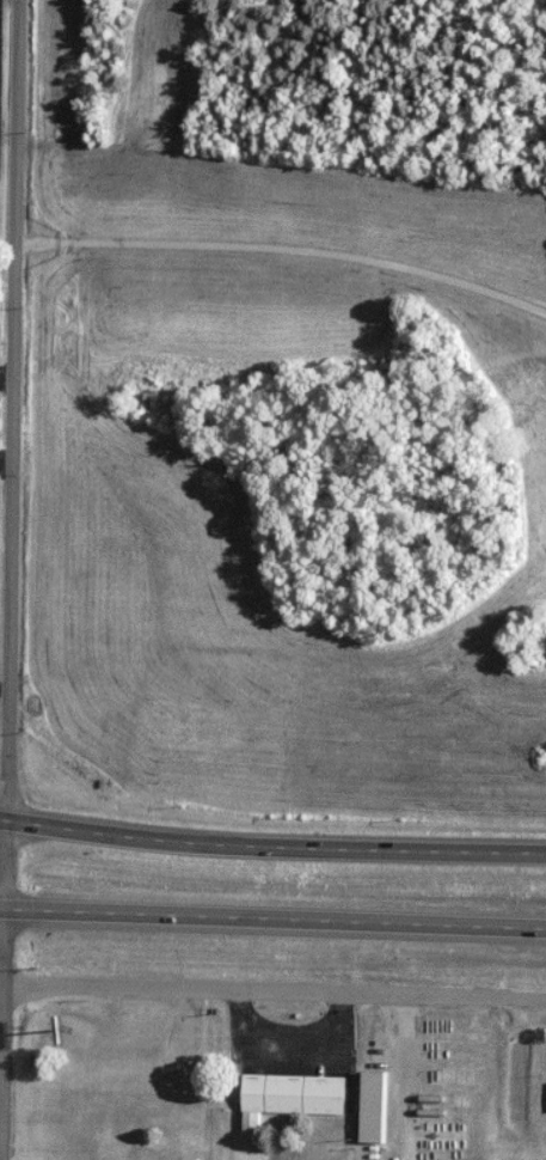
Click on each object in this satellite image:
road: (286, 249)
road: (14, 413)
road: (271, 849)
road: (6, 868)
road: (272, 921)
road: (254, 991)
road: (2, 1036)
building: (292, 1094)

